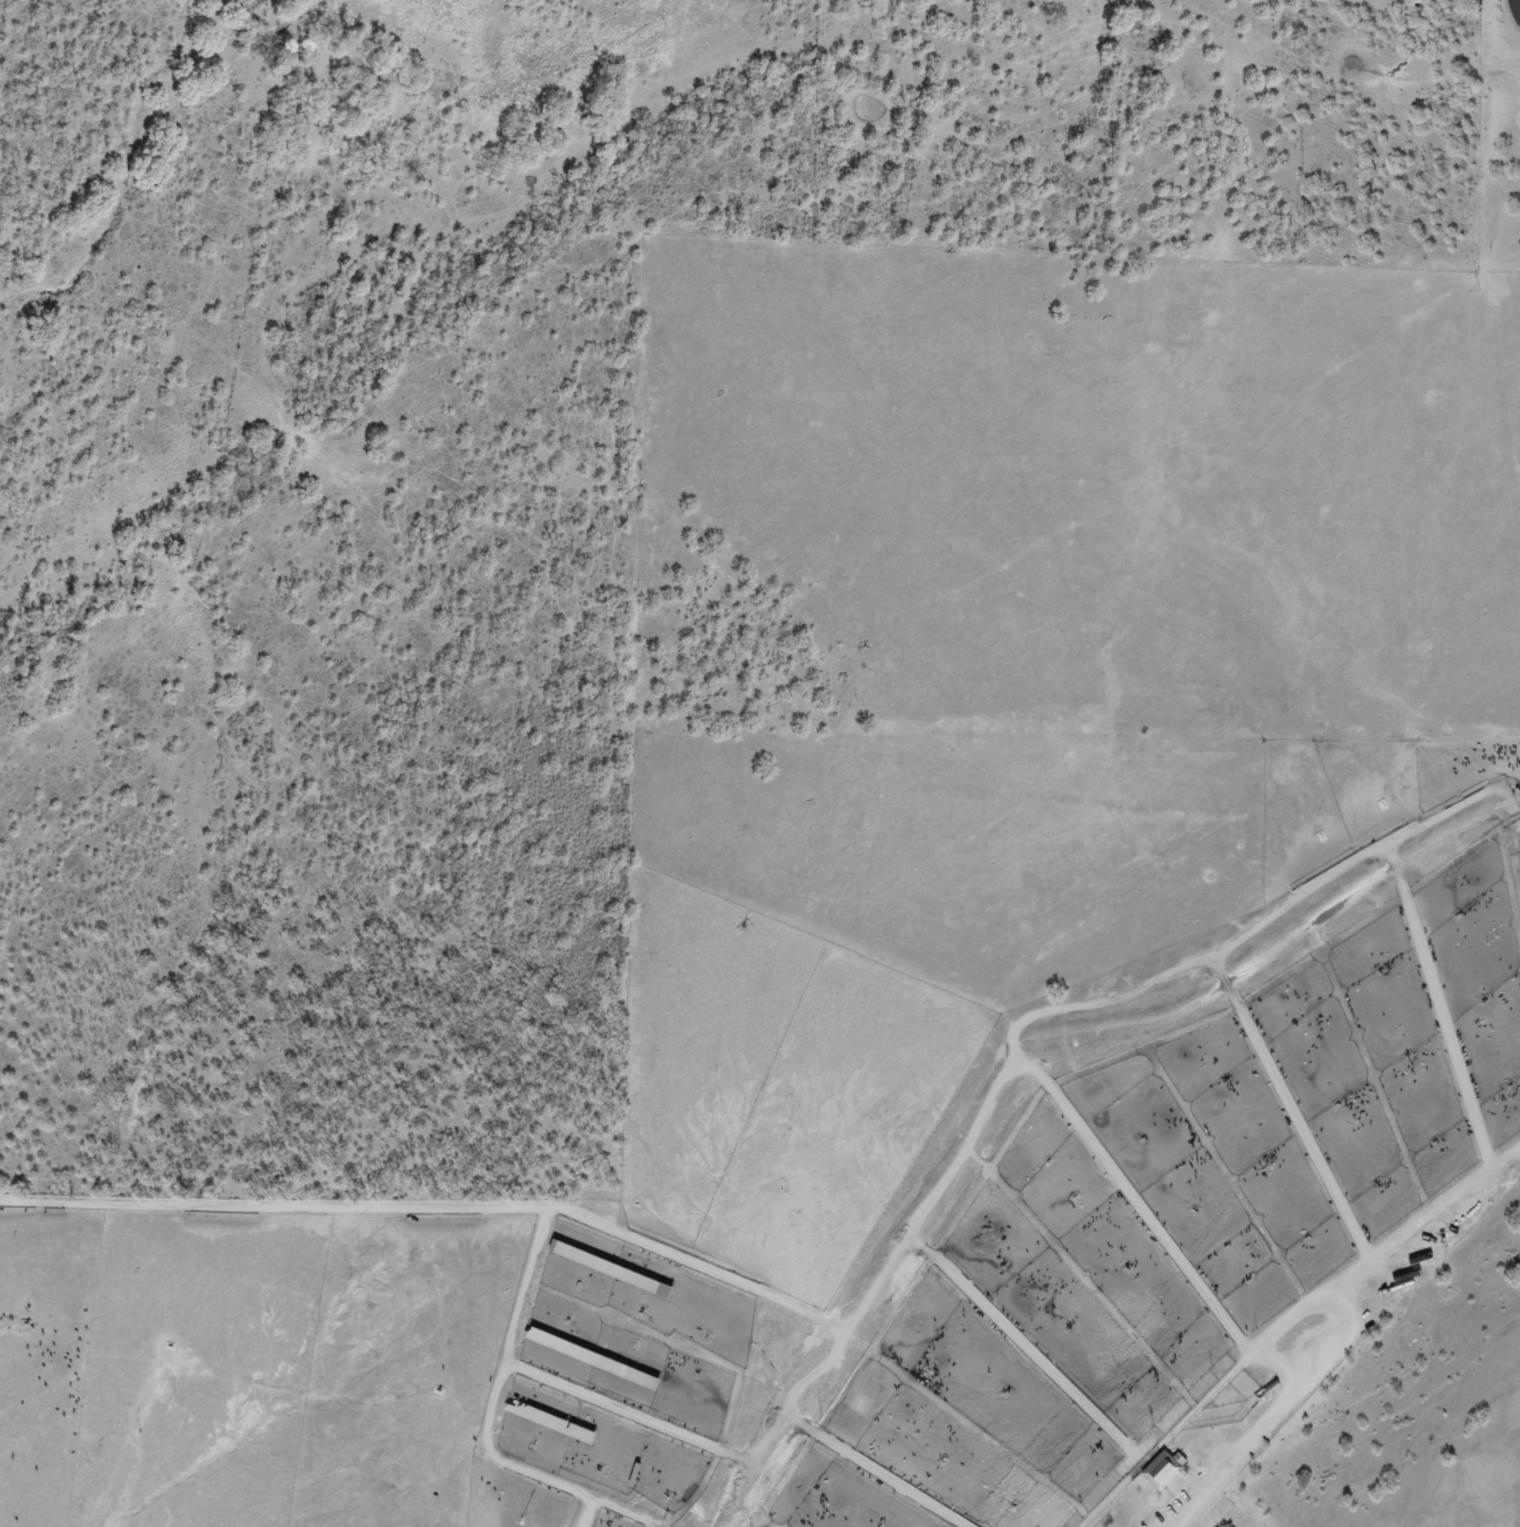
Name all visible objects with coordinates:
building: (598, 1358)
building: (556, 1421)
building: (1158, 1470)

